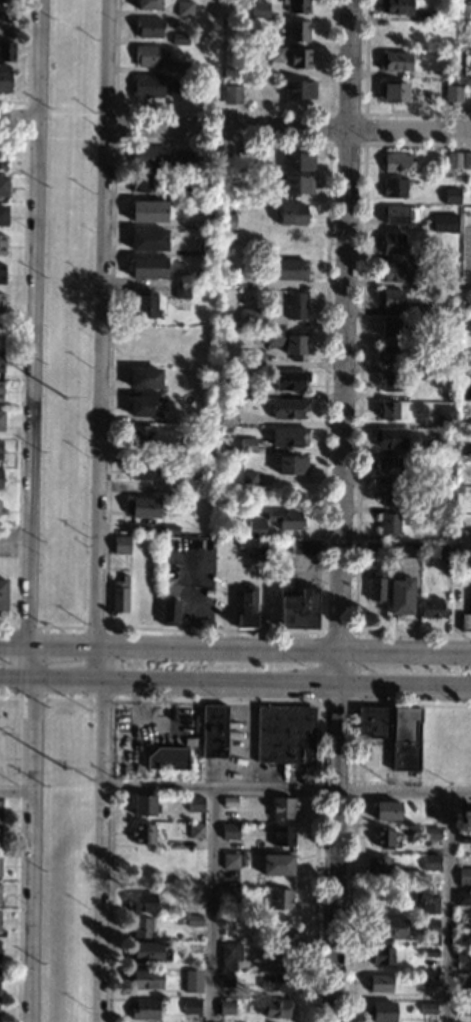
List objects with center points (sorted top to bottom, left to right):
building: (6, 2)
building: (148, 5)
building: (298, 5)
building: (396, 7)
building: (184, 8)
building: (259, 8)
building: (430, 16)
building: (4, 22)
building: (149, 26)
building: (297, 30)
building: (180, 38)
building: (7, 51)
building: (277, 54)
building: (148, 55)
building: (300, 58)
building: (394, 61)
building: (179, 66)
building: (5, 81)
building: (148, 86)
building: (178, 88)
building: (299, 89)
building: (392, 92)
building: (453, 93)
building: (233, 95)
road: (18, 123)
road: (290, 126)
building: (161, 157)
building: (3, 158)
building: (453, 160)
building: (466, 160)
building: (297, 161)
building: (397, 162)
building: (144, 182)
building: (297, 184)
building: (3, 185)
building: (395, 188)
building: (181, 191)
building: (260, 192)
building: (451, 196)
building: (149, 211)
building: (292, 213)
building: (3, 215)
building: (395, 215)
building: (228, 221)
building: (441, 223)
building: (148, 239)
building: (392, 243)
building: (2, 244)
building: (426, 254)
building: (148, 268)
building: (290, 269)
building: (392, 273)
building: (2, 274)
building: (237, 275)
building: (449, 281)
building: (181, 291)
building: (391, 299)
building: (2, 302)
building: (146, 304)
building: (466, 304)
building: (297, 305)
building: (423, 310)
building: (250, 317)
building: (466, 322)
building: (234, 325)
building: (392, 326)
building: (2, 333)
building: (147, 342)
building: (285, 342)
building: (392, 355)
building: (1, 362)
building: (464, 364)
building: (448, 369)
building: (144, 378)
building: (290, 380)
building: (389, 381)
building: (226, 385)
building: (1, 390)
building: (469, 392)
power tower: (68, 405)
building: (144, 406)
building: (288, 408)
building: (388, 410)
building: (227, 415)
building: (445, 415)
building: (1, 420)
building: (468, 424)
building: (138, 432)
building: (288, 436)
building: (389, 438)
building: (247, 445)
building: (442, 448)
building: (467, 450)
building: (1, 451)
building: (291, 464)
building: (387, 466)
building: (144, 471)
building: (0, 479)
building: (248, 481)
building: (172, 484)
building: (390, 495)
building: (145, 507)
building: (444, 507)
road: (31, 510)
road: (101, 510)
road: (339, 510)
building: (2, 511)
building: (285, 520)
building: (388, 523)
building: (255, 528)
building: (170, 529)
road: (15, 534)
building: (121, 544)
building: (304, 546)
building: (373, 548)
building: (255, 549)
building: (407, 549)
building: (444, 552)
building: (376, 584)
building: (2, 594)
building: (119, 594)
building: (400, 596)
building: (247, 607)
building: (296, 608)
building: (431, 608)
building: (169, 611)
building: (466, 619)
road: (235, 651)
road: (235, 683)
building: (373, 722)
building: (214, 732)
building: (285, 735)
building: (405, 739)
building: (168, 759)
power tower: (68, 775)
road: (284, 789)
road: (13, 790)
building: (230, 803)
building: (195, 805)
building: (144, 806)
building: (283, 809)
building: (0, 810)
building: (386, 812)
building: (196, 831)
building: (230, 832)
building: (143, 834)
building: (430, 834)
building: (0, 835)
building: (283, 836)
building: (464, 836)
building: (383, 838)
building: (180, 861)
building: (230, 861)
building: (243, 861)
building: (0, 863)
building: (431, 863)
building: (277, 865)
building: (379, 867)
building: (464, 877)
building: (193, 881)
building: (0, 892)
building: (229, 895)
building: (462, 898)
building: (280, 900)
building: (426, 903)
building: (142, 904)
road: (210, 905)
road: (449, 907)
building: (193, 921)
building: (180, 922)
building: (228, 922)
building: (387, 927)
building: (429, 927)
building: (141, 928)
building: (281, 929)
building: (180, 938)
building: (149, 952)
building: (231, 952)
building: (430, 953)
building: (276, 955)
building: (381, 956)
building: (463, 956)
building: (0, 978)
building: (145, 979)
building: (226, 980)
building: (192, 982)
building: (427, 982)
building: (277, 983)
building: (379, 984)
building: (463, 984)
building: (191, 1007)
building: (226, 1007)
building: (275, 1009)
building: (144, 1010)
building: (427, 1010)
building: (463, 1010)
building: (381, 1012)

